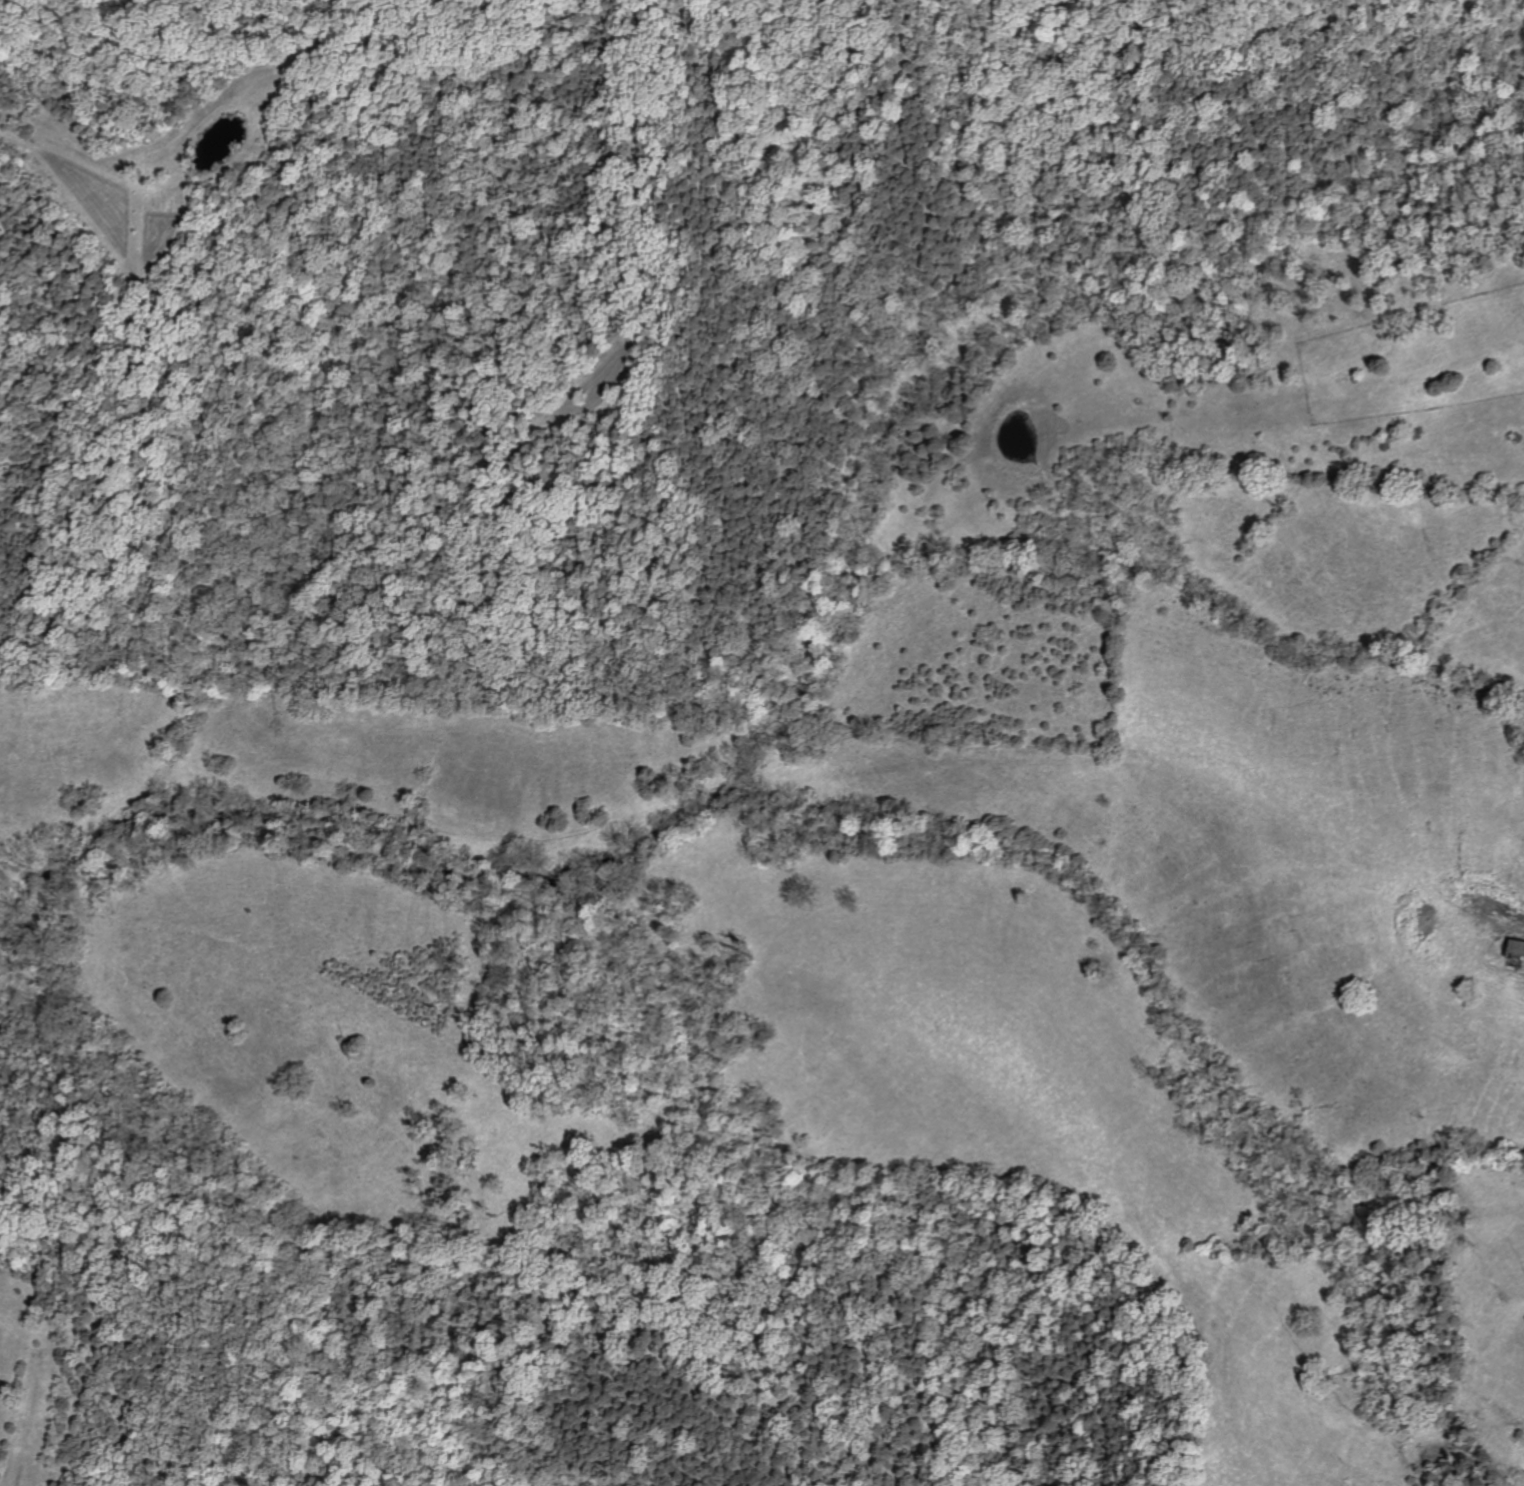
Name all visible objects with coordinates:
building: (1513, 953)

